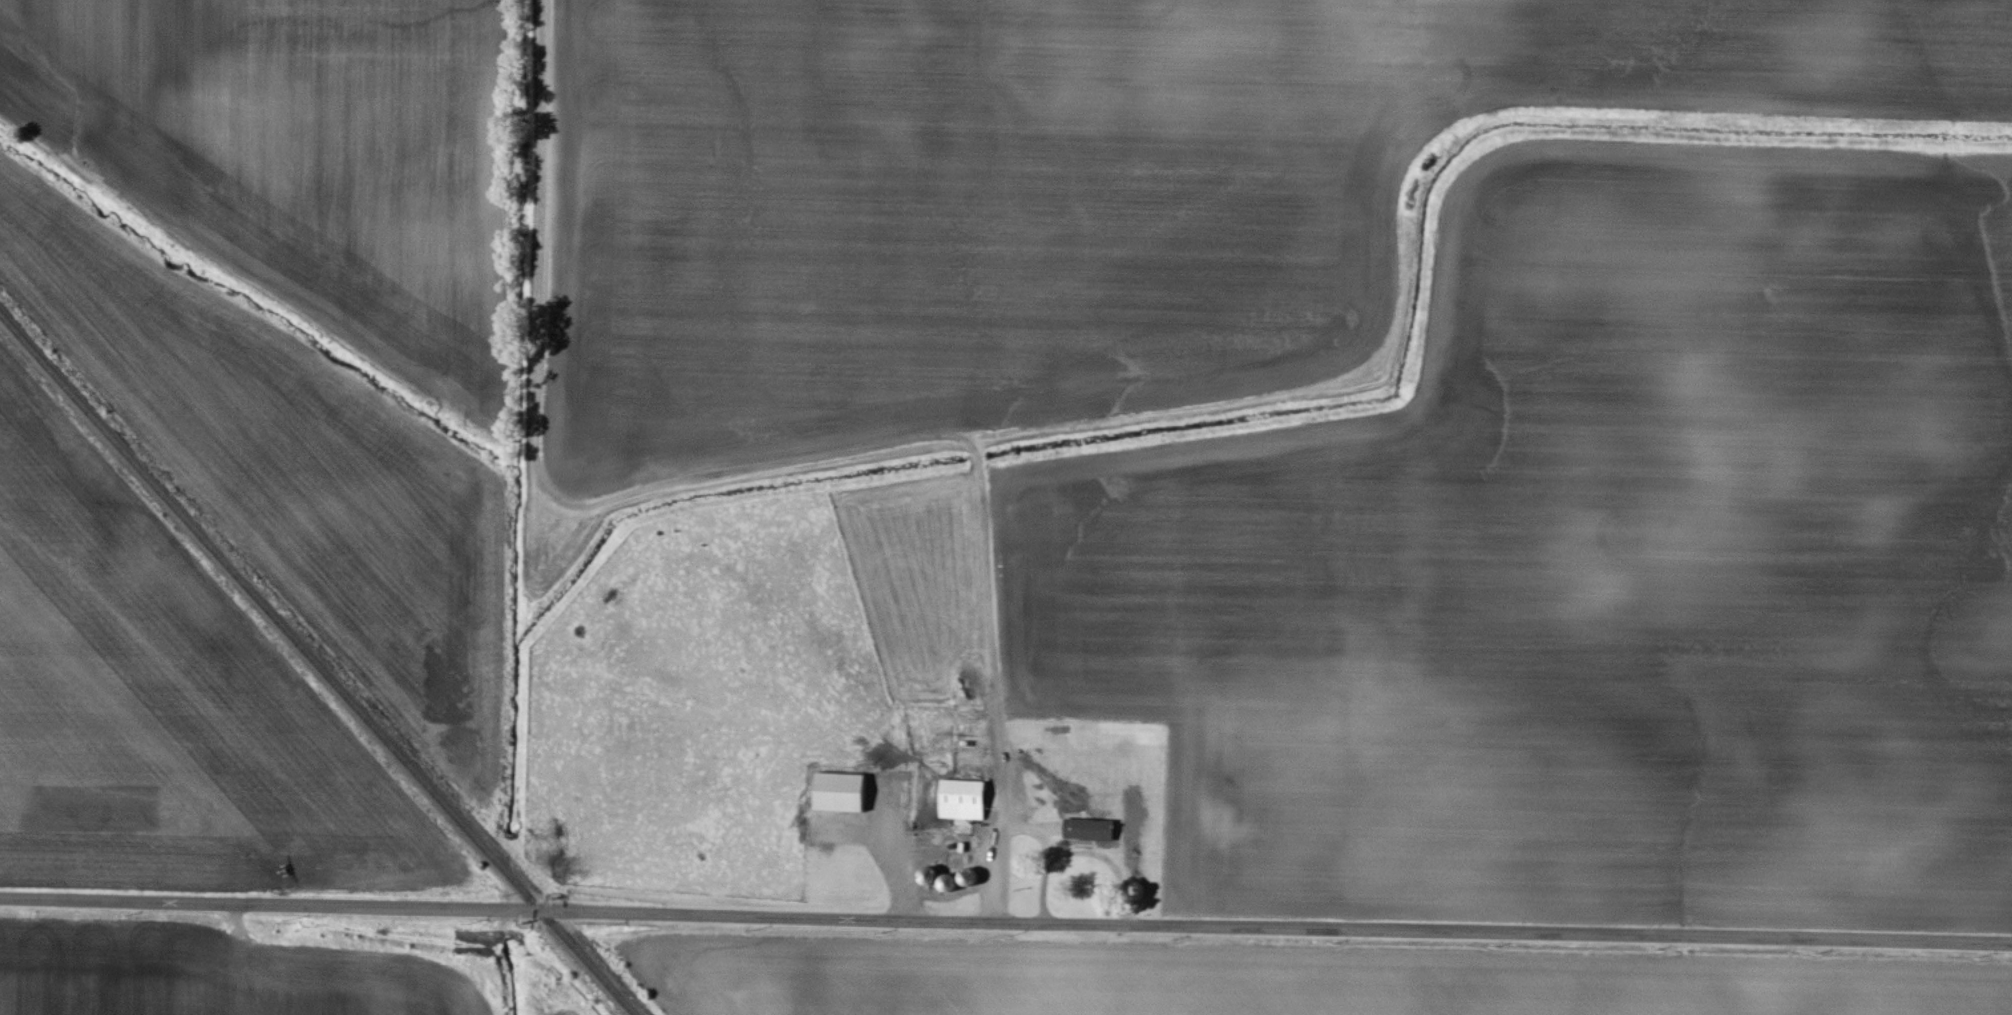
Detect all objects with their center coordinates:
road: (644, 489)
railway: (318, 664)
building: (841, 792)
building: (964, 801)
road: (1003, 812)
building: (1091, 831)
road: (1044, 856)
road: (1006, 922)

